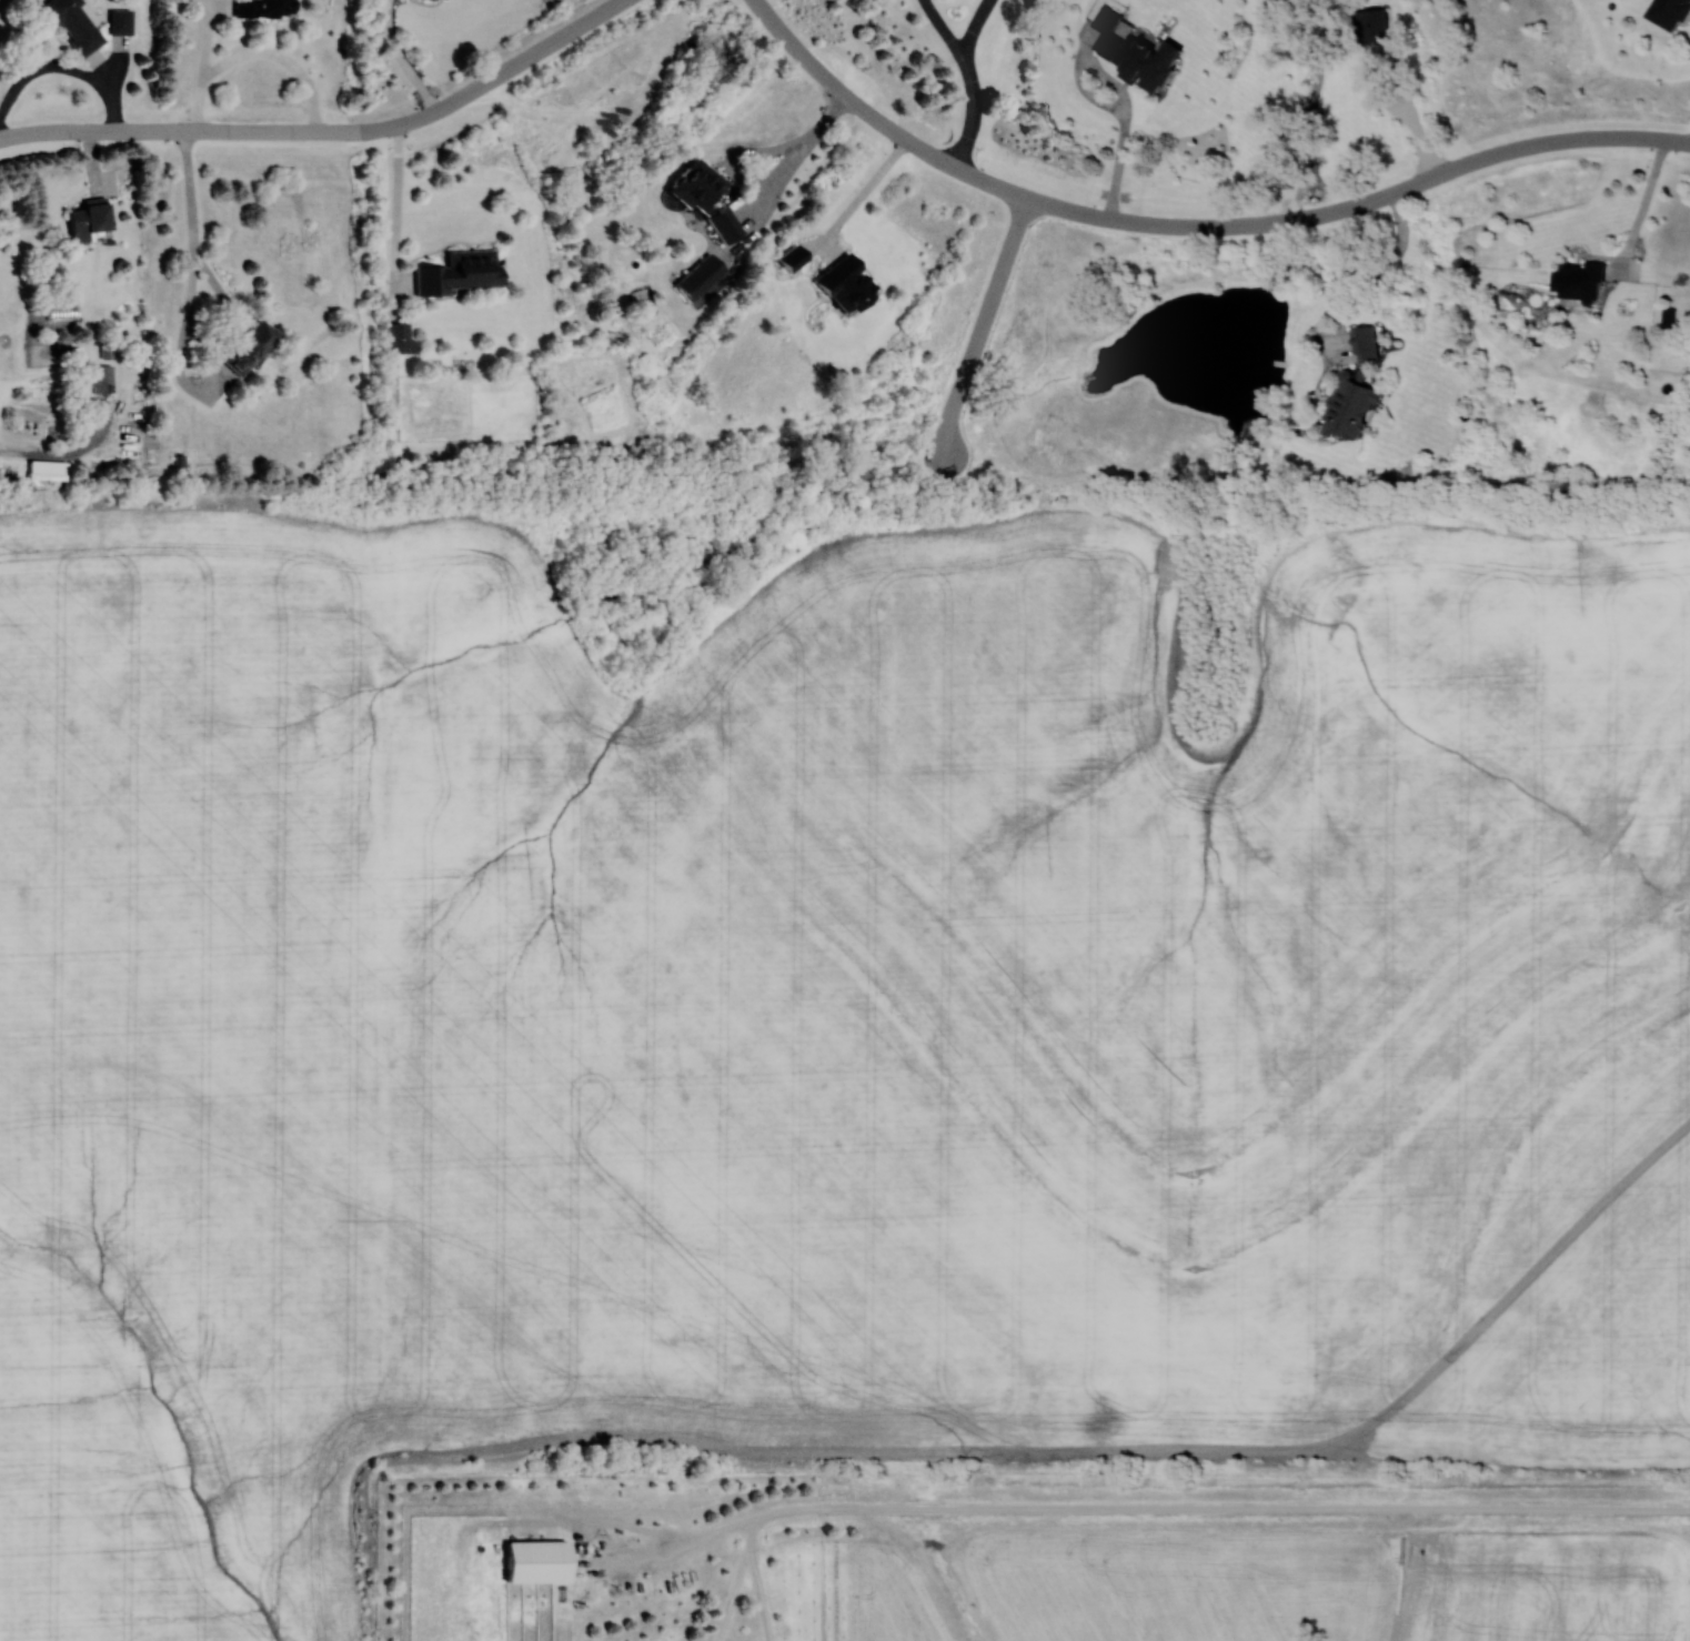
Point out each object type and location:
building: (435, 0)
building: (265, 8)
building: (1667, 12)
building: (121, 22)
road: (1392, 22)
building: (1370, 23)
road: (975, 24)
building: (76, 26)
road: (942, 26)
road: (831, 46)
road: (256, 52)
road: (399, 59)
road: (1123, 90)
road: (974, 111)
road: (1407, 113)
road: (326, 131)
road: (782, 143)
building: (707, 198)
road: (1642, 207)
building: (91, 218)
road: (395, 220)
road: (1189, 228)
building: (794, 258)
road: (1376, 266)
building: (460, 271)
building: (701, 276)
building: (1577, 279)
building: (848, 283)
road: (218, 286)
building: (1667, 316)
road: (980, 326)
building: (401, 339)
building: (1365, 342)
building: (250, 345)
building: (103, 379)
building: (1349, 407)
road: (1207, 1508)
building: (539, 1562)
road: (758, 1592)
road: (731, 1593)

